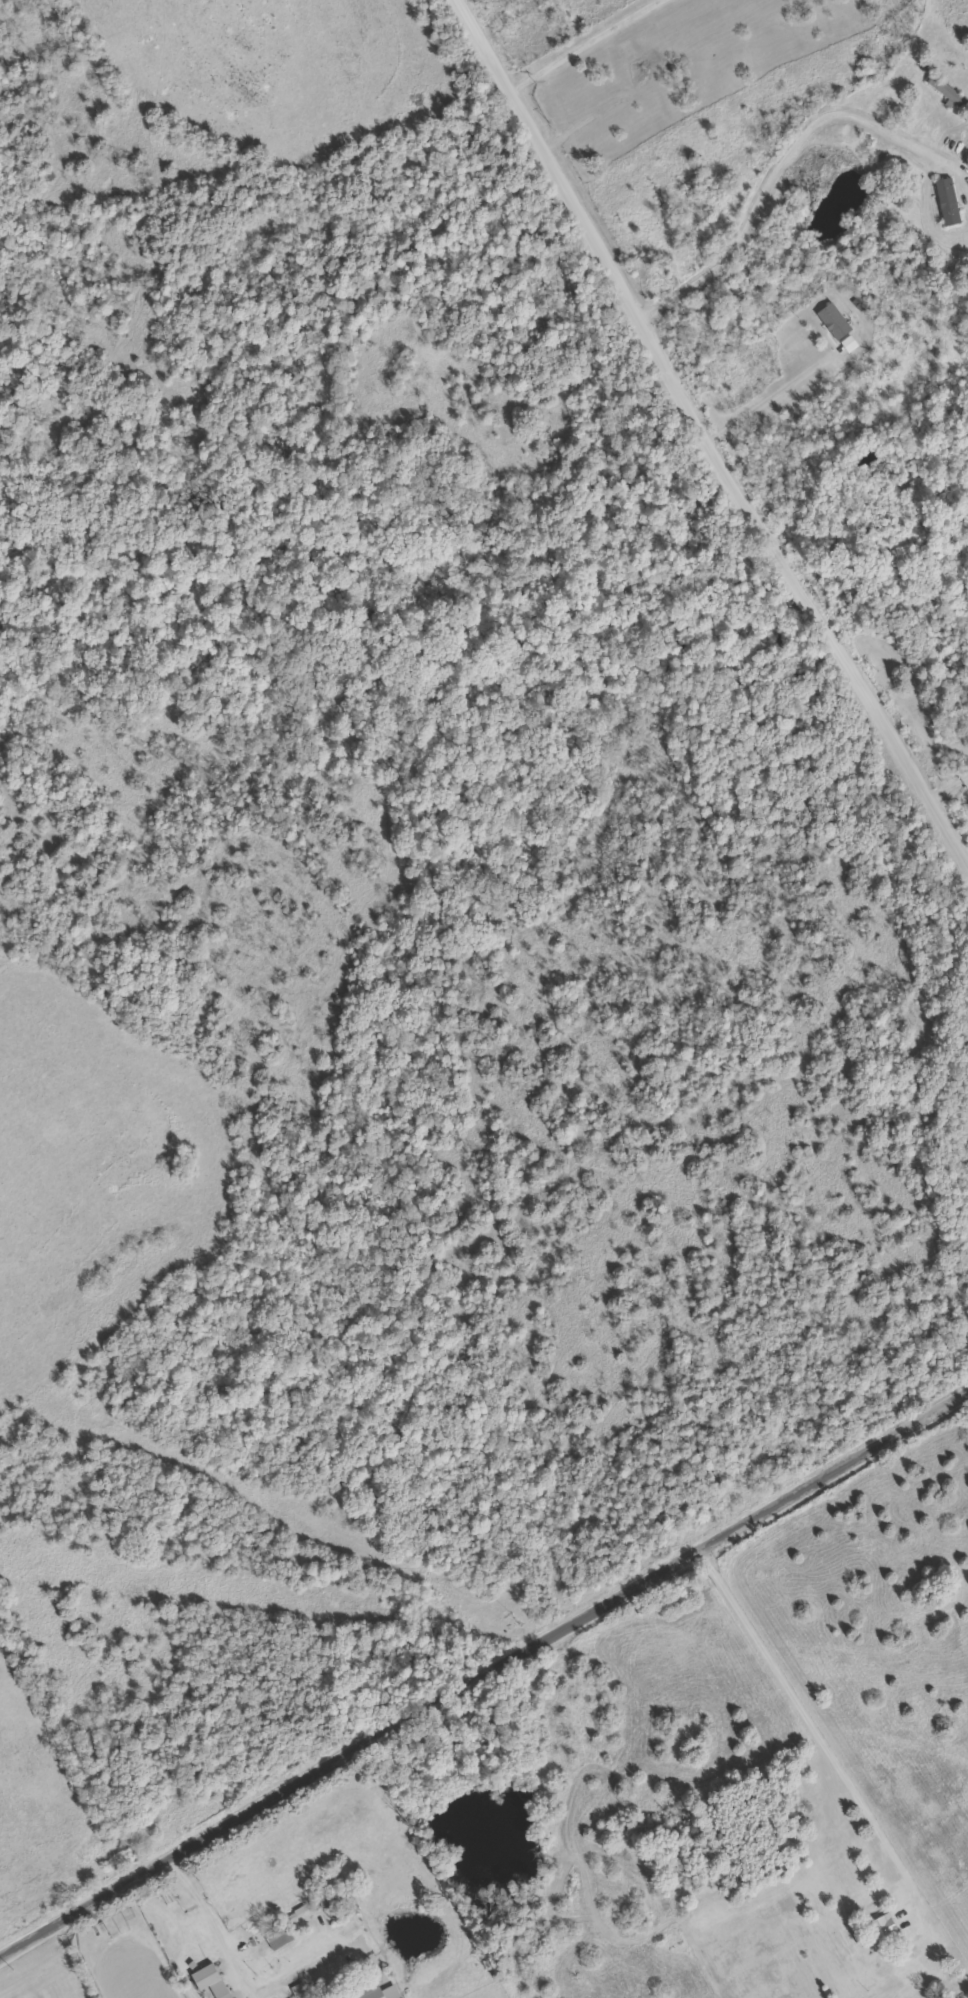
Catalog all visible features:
building: (949, 91)
road: (760, 184)
building: (949, 201)
building: (834, 322)
building: (851, 344)
road: (705, 437)
road: (483, 1664)
road: (814, 1722)
building: (884, 1932)
building: (281, 1937)
building: (213, 1981)
building: (313, 1992)
building: (380, 1993)

